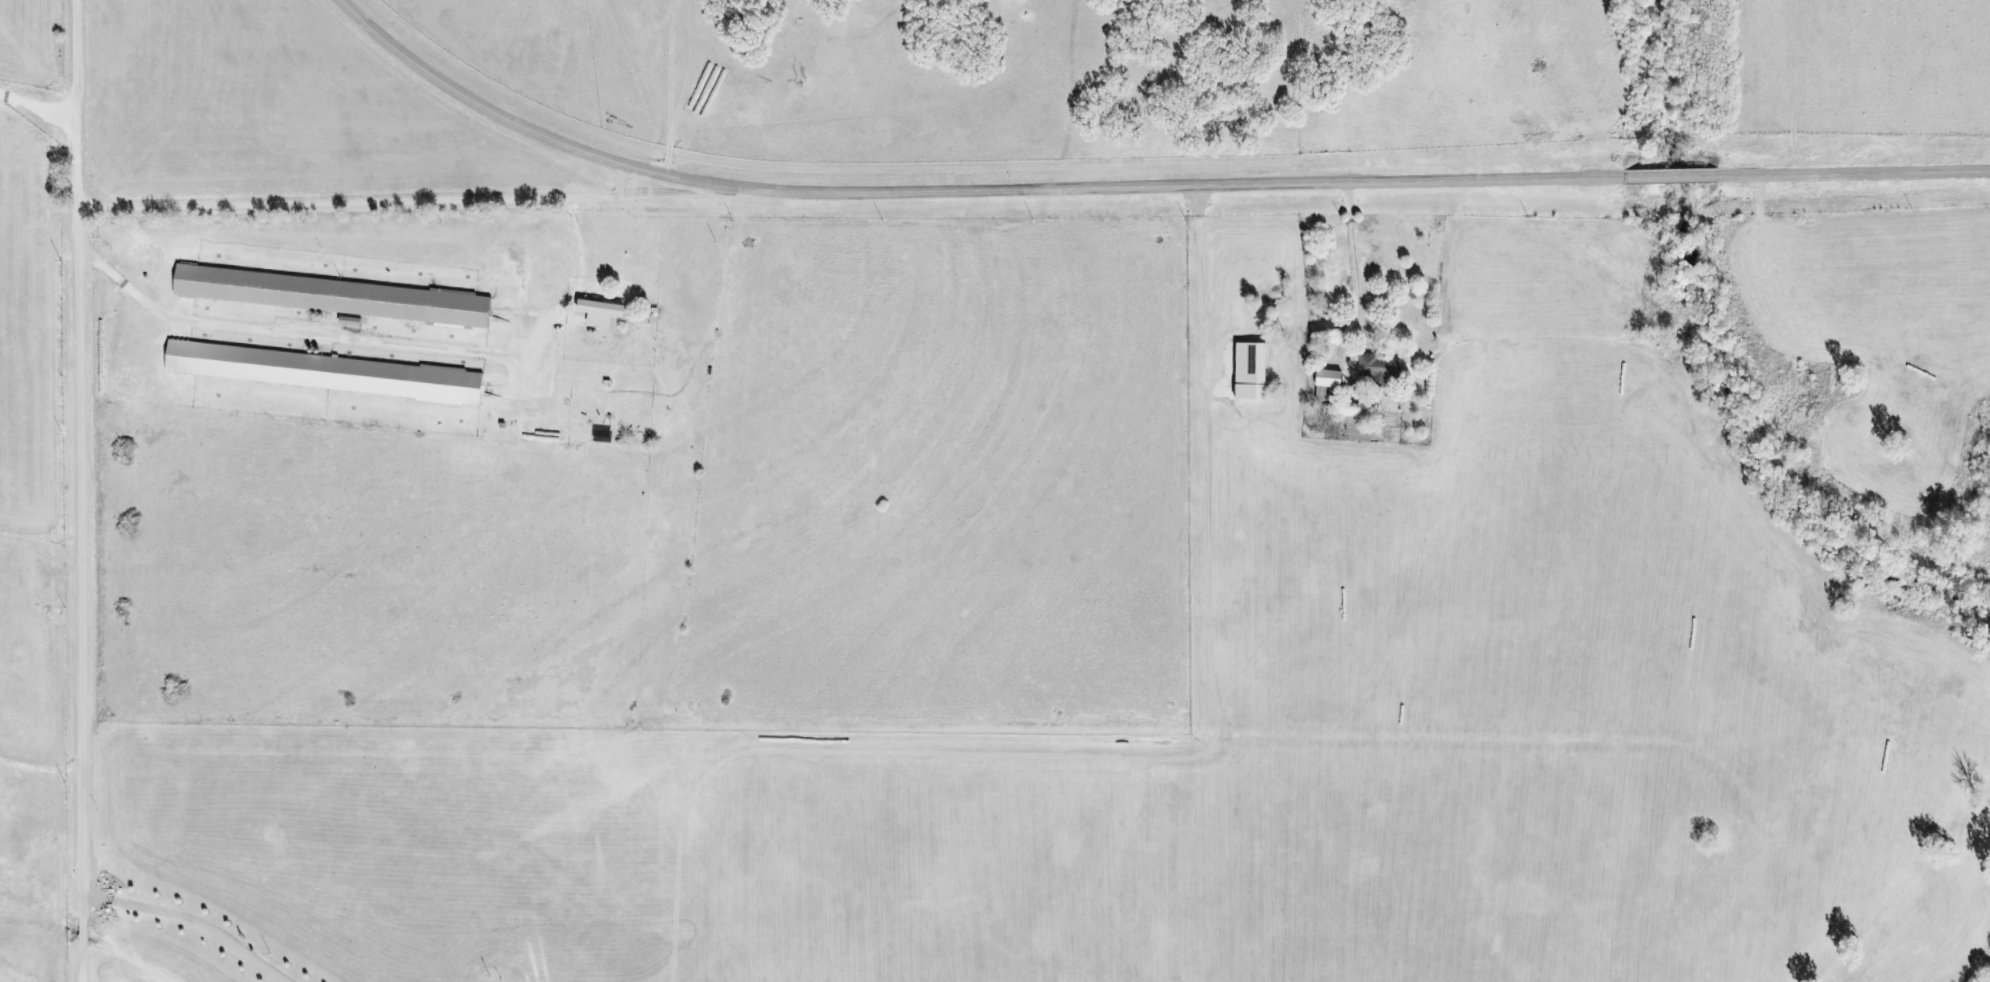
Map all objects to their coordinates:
road: (82, 105)
road: (41, 109)
road: (1140, 184)
road: (418, 200)
building: (332, 295)
building: (601, 311)
building: (1372, 366)
building: (324, 371)
building: (1251, 371)
building: (1329, 378)
road: (86, 592)

